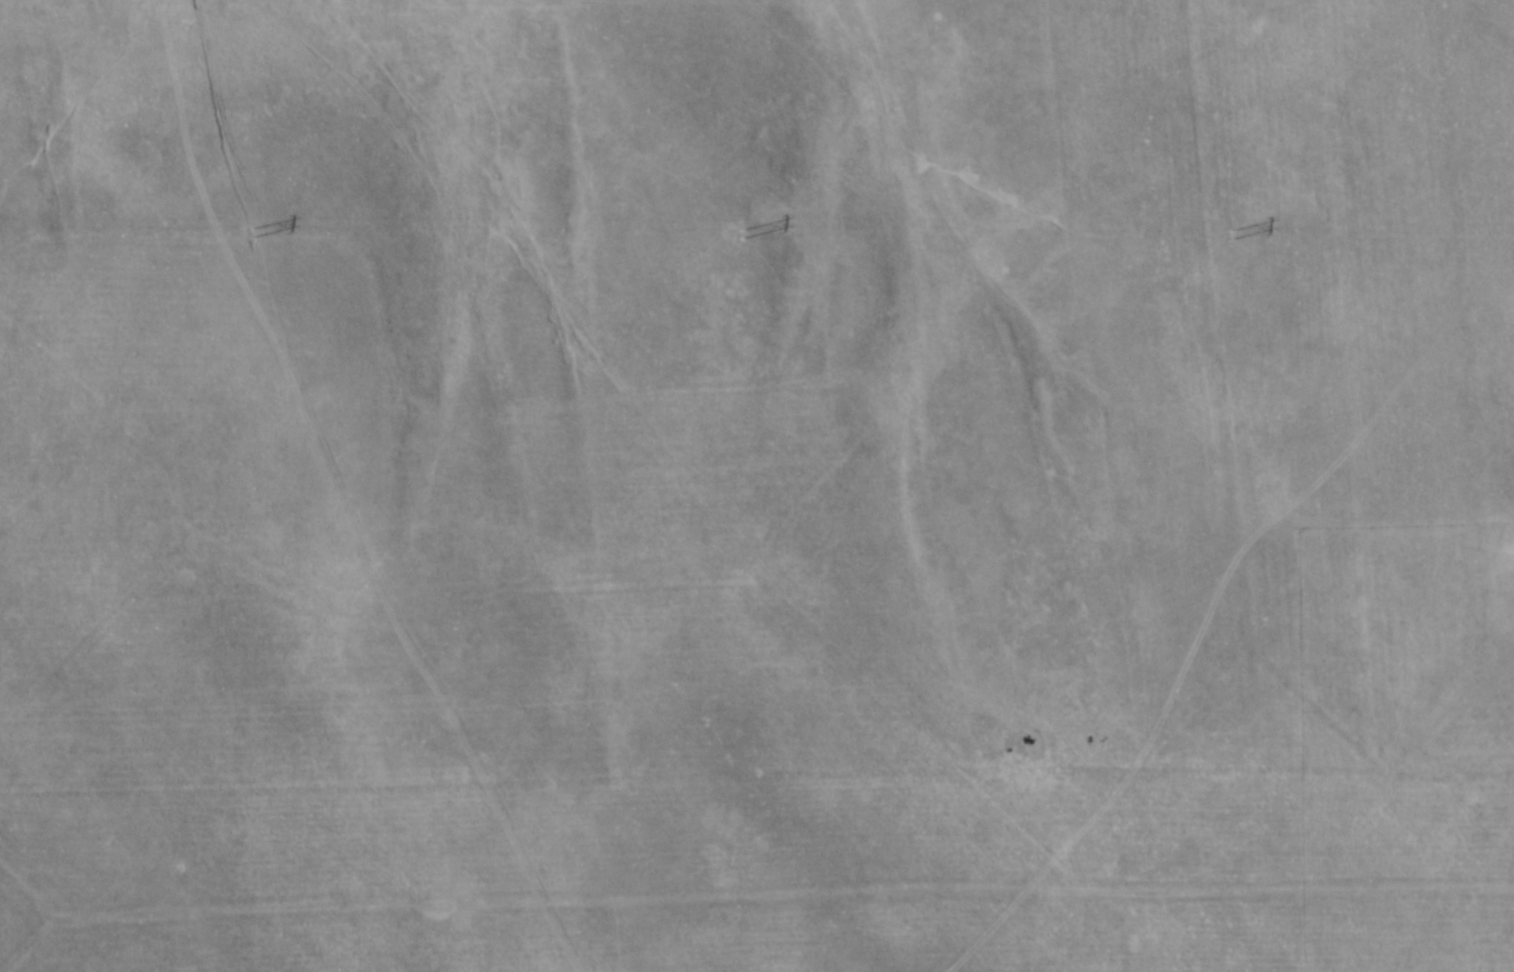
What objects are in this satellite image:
power tower: (252, 234)
power tower: (743, 235)
power tower: (1232, 236)

